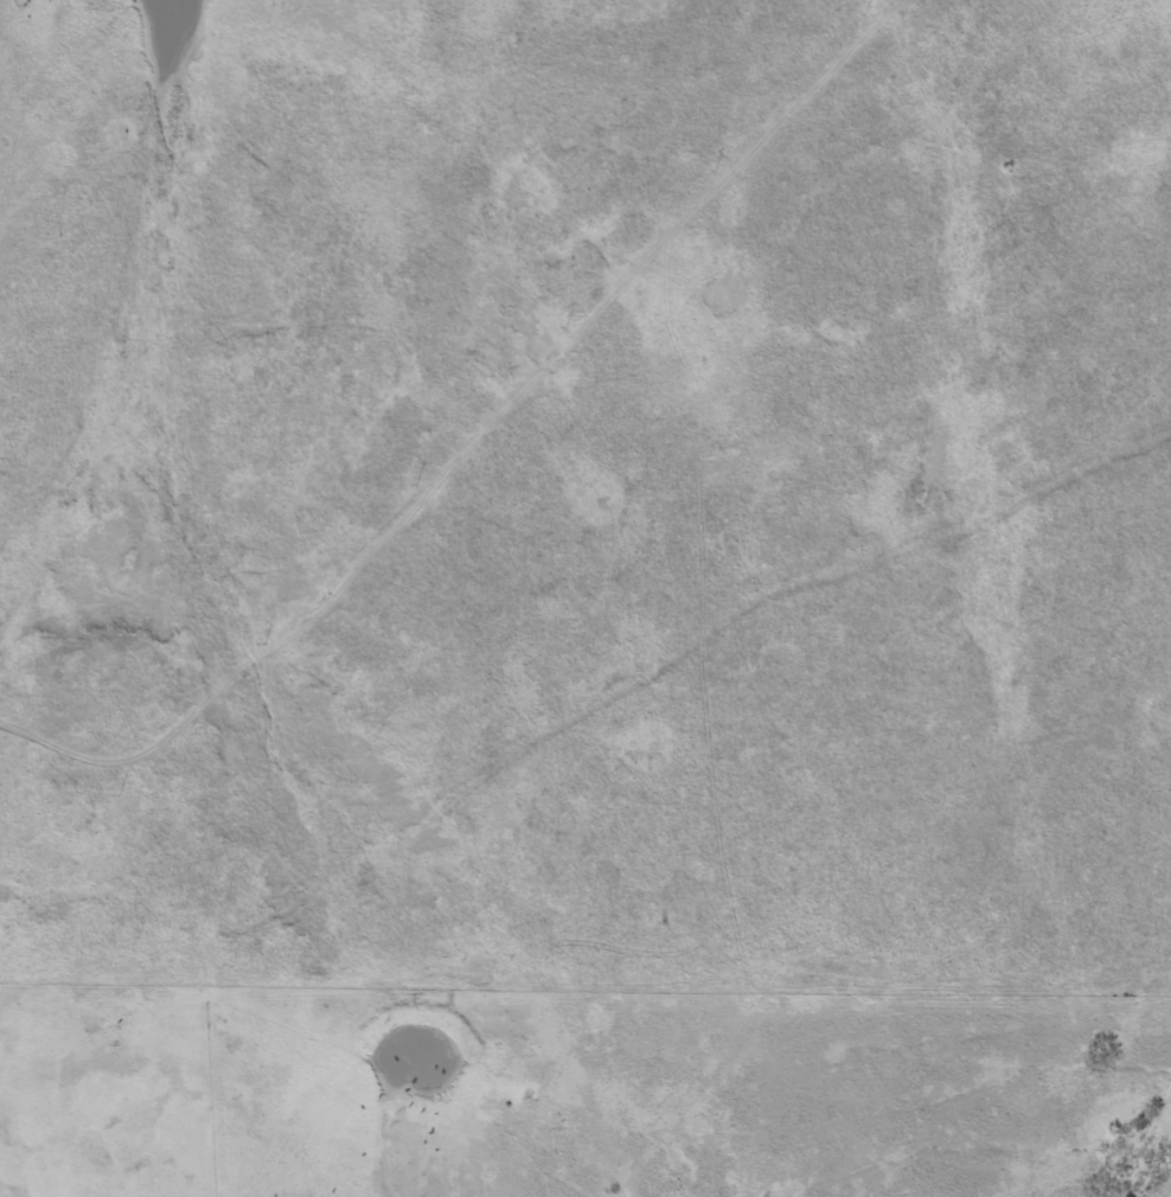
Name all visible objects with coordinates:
road: (76, 750)

